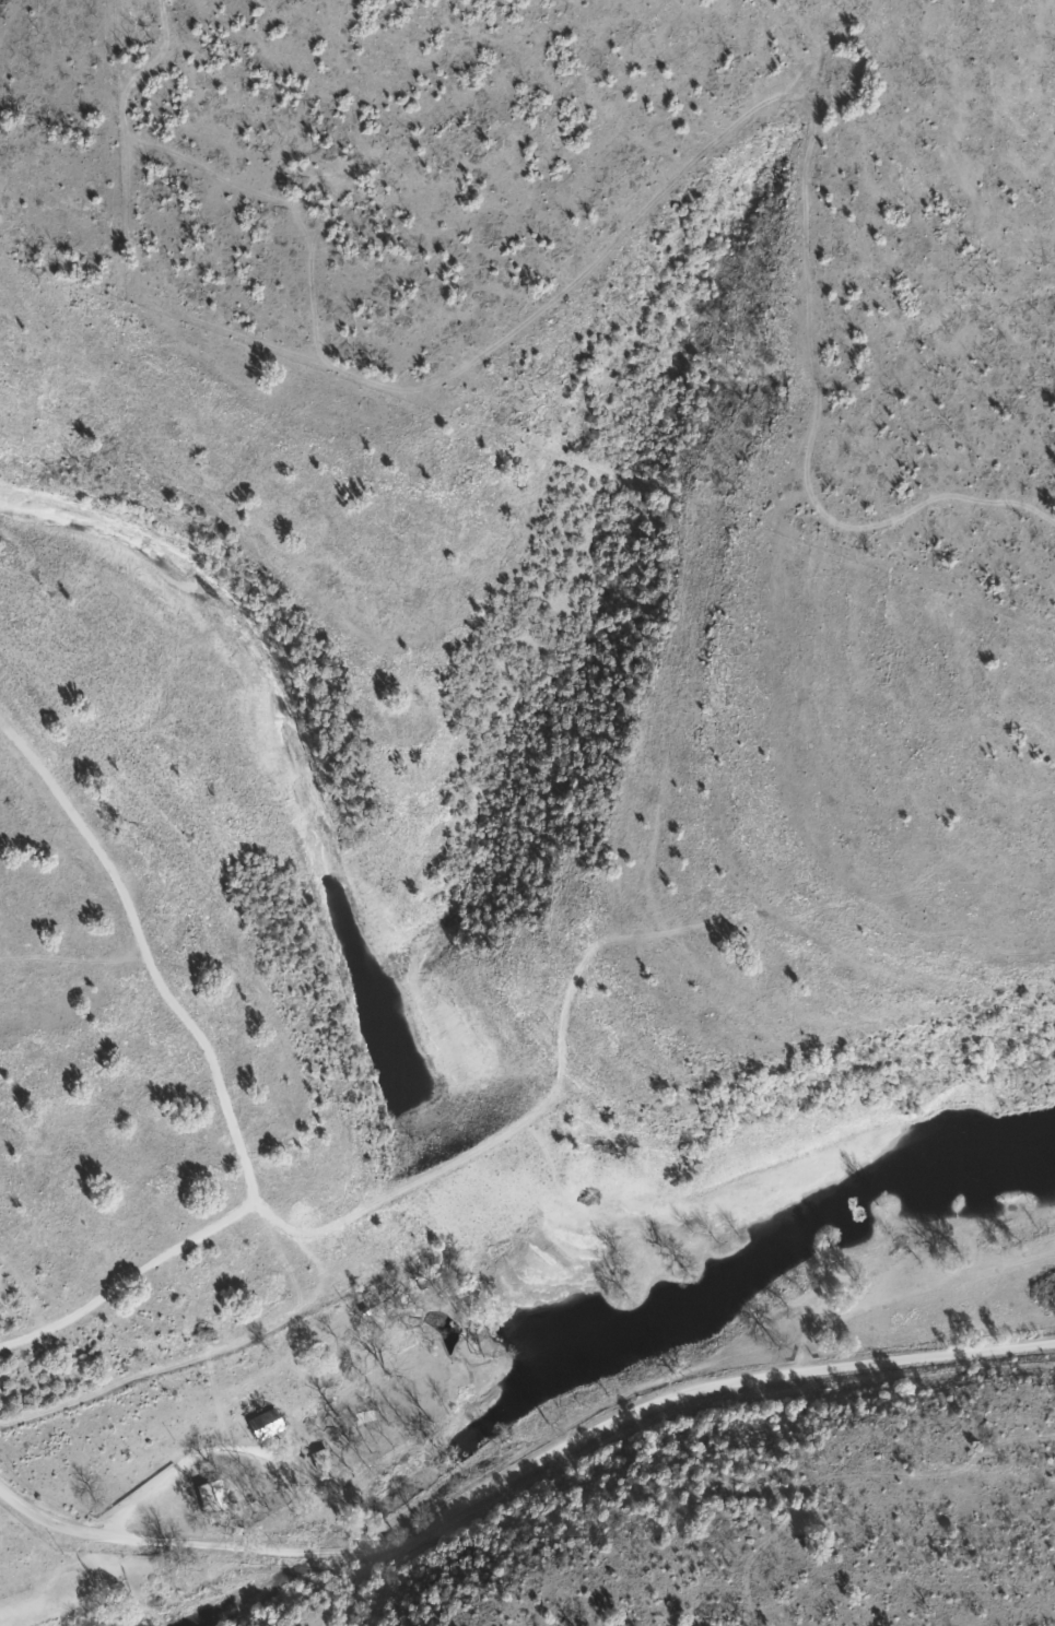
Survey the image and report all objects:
building: (376, 1407)
building: (267, 1425)
building: (323, 1461)
building: (214, 1499)
road: (888, 1517)
road: (512, 1547)

